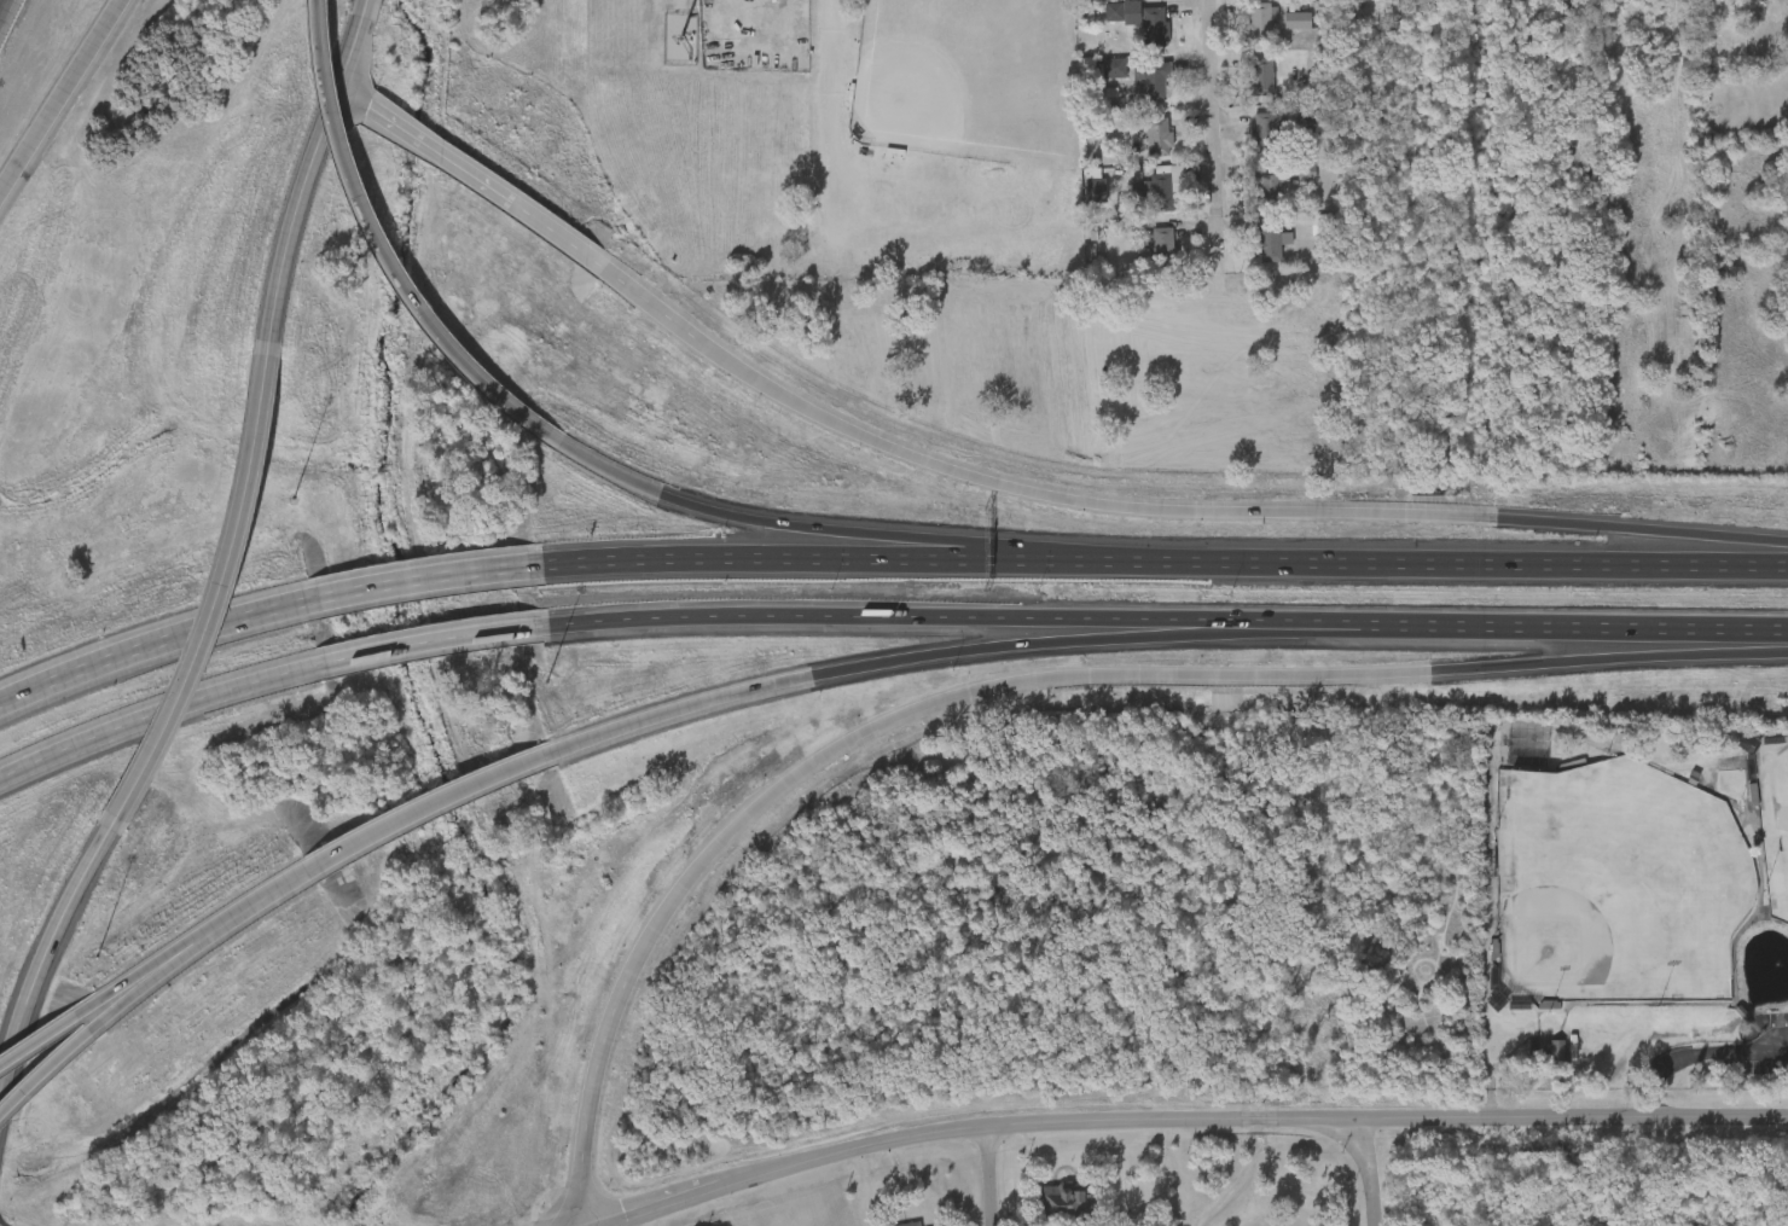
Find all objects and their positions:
building: (715, 1)
building: (1133, 1)
road: (354, 16)
building: (1256, 24)
building: (1153, 28)
building: (1300, 30)
building: (1122, 33)
building: (1279, 33)
building: (1241, 35)
building: (1260, 77)
building: (1096, 80)
building: (1153, 81)
building: (1243, 89)
building: (1133, 93)
road: (813, 94)
road: (59, 95)
road: (349, 97)
road: (1207, 108)
building: (1269, 130)
building: (1155, 133)
building: (1246, 140)
building: (1140, 149)
building: (1305, 173)
building: (1269, 184)
road: (300, 192)
building: (1159, 192)
road: (499, 194)
building: (1250, 199)
road: (384, 243)
building: (1271, 243)
building: (1157, 246)
building: (1142, 254)
building: (1254, 255)
building: (1329, 298)
building: (1312, 309)
road: (1185, 507)
road: (853, 529)
road: (853, 557)
road: (1482, 562)
road: (424, 579)
road: (225, 595)
road: (756, 616)
road: (1327, 618)
road: (1731, 627)
road: (1366, 632)
road: (184, 633)
road: (429, 640)
road: (797, 678)
road: (1021, 679)
road: (27, 690)
road: (159, 711)
road: (430, 806)
road: (263, 897)
park: (1639, 911)
road: (48, 942)
road: (143, 974)
road: (149, 981)
road: (40, 1041)
road: (1697, 1052)
building: (1539, 1063)
road: (46, 1077)
road: (1200, 1120)
road: (1362, 1173)
road: (985, 1176)
building: (1063, 1201)
building: (908, 1224)

